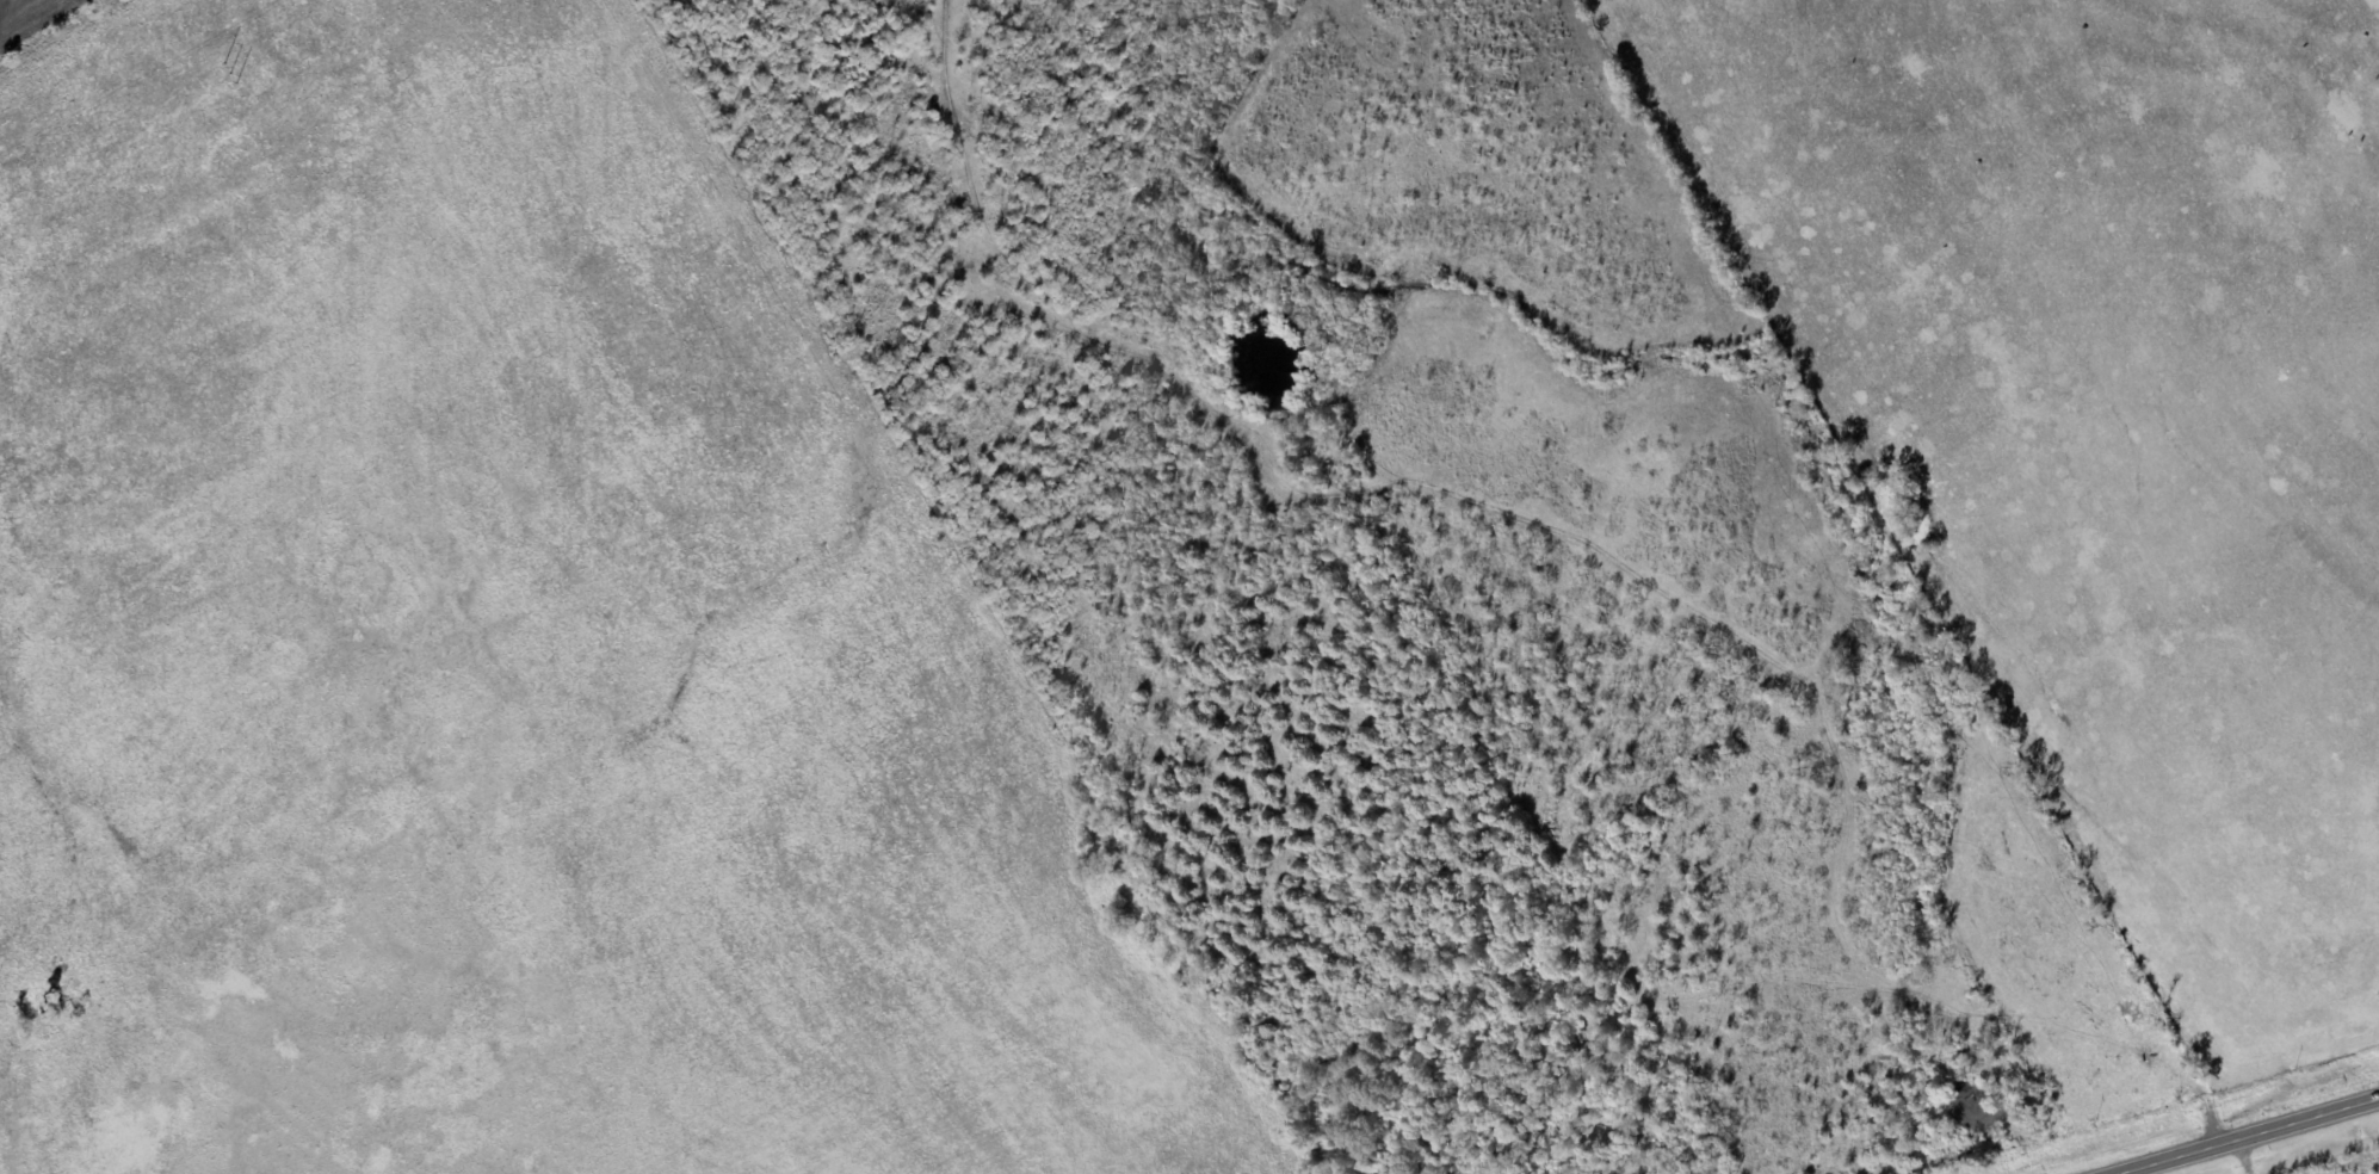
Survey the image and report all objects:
power tower: (231, 69)
road: (2239, 1131)

